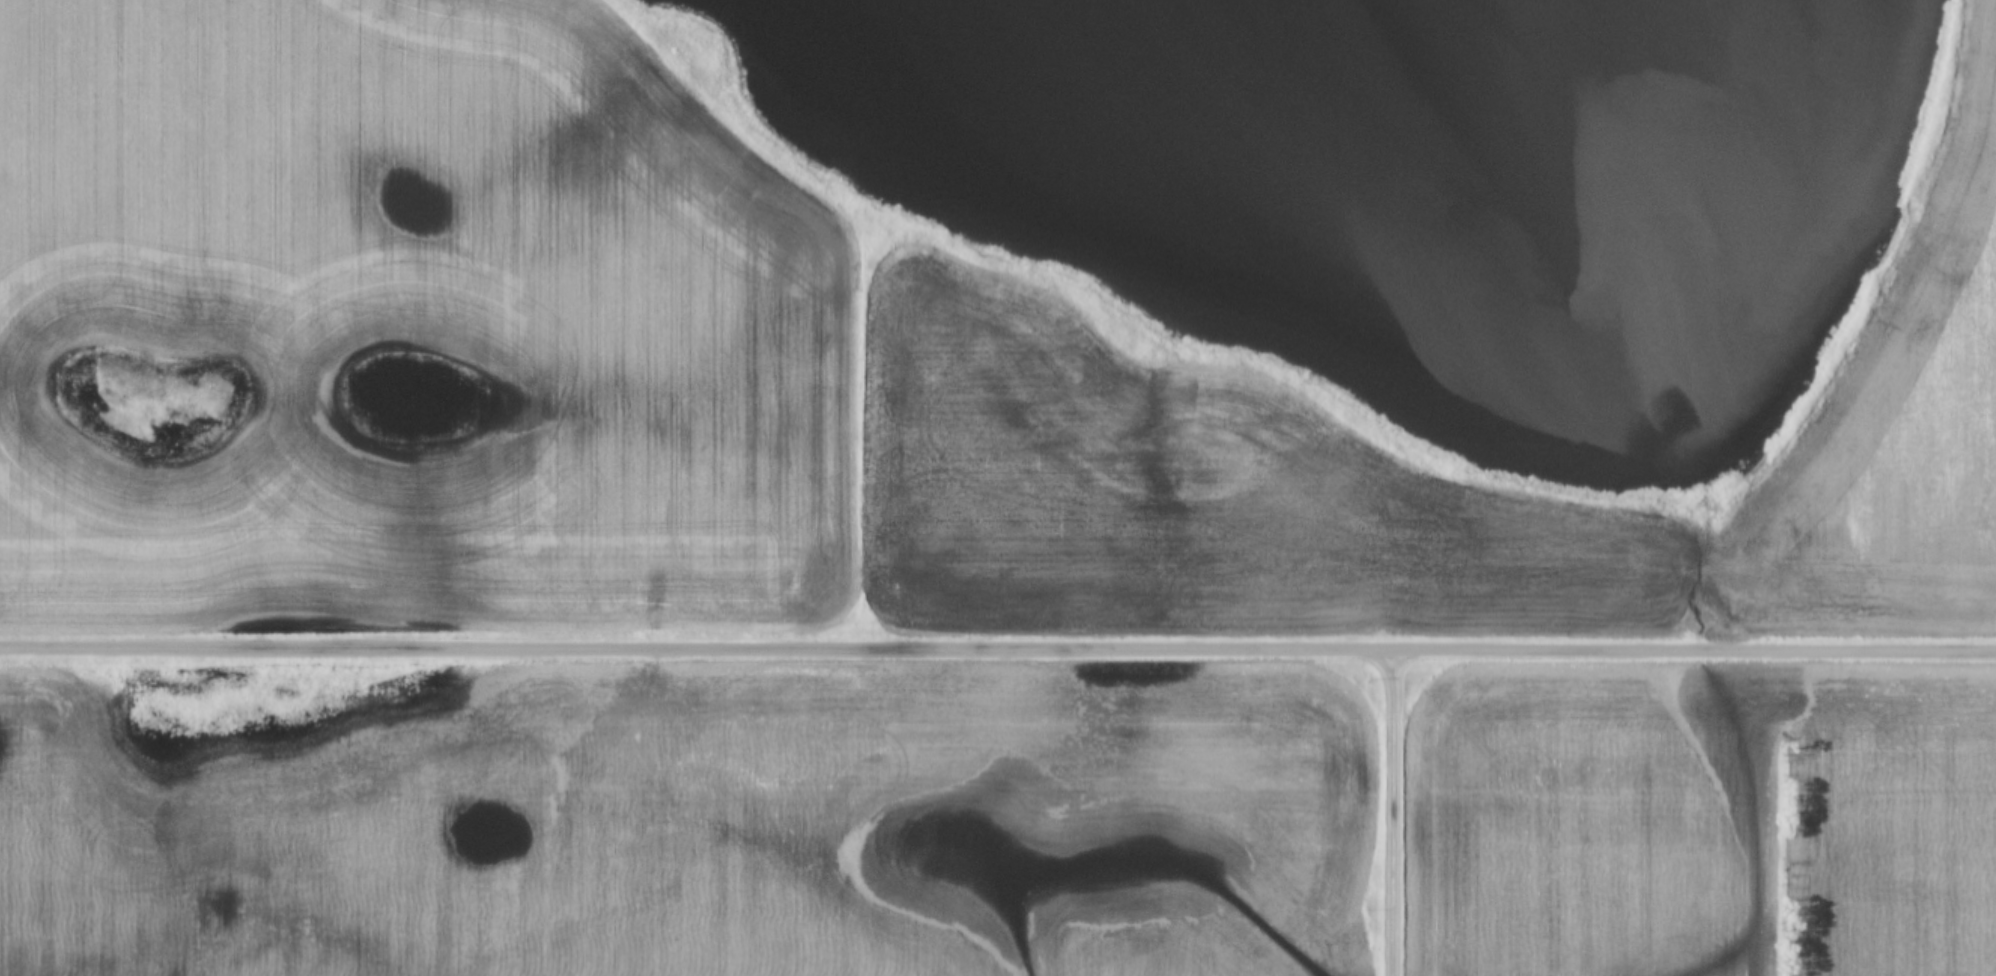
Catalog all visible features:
road: (998, 643)
road: (1392, 809)

